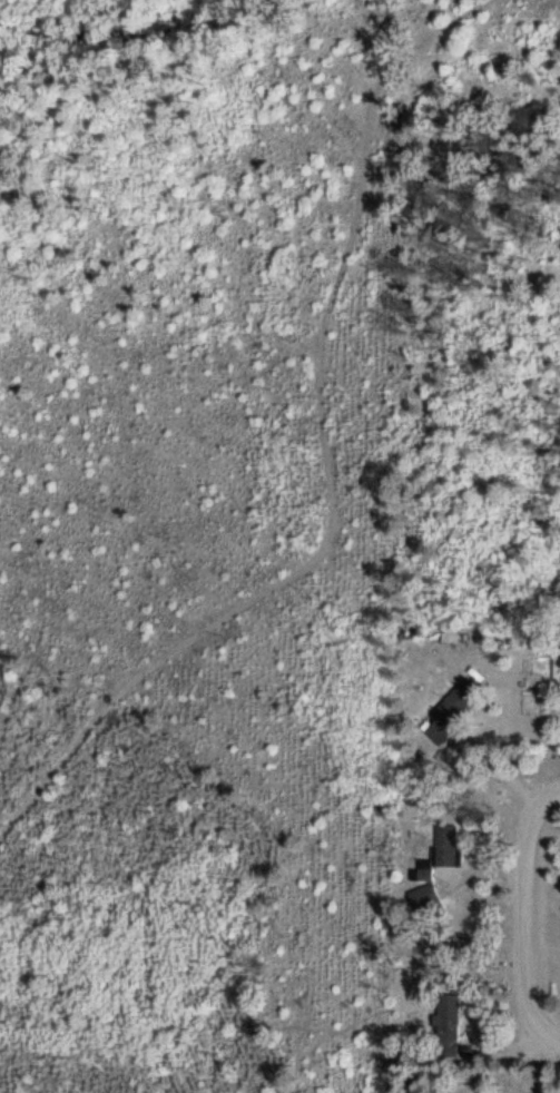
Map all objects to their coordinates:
building: (449, 705)
building: (442, 844)
building: (421, 898)
road: (524, 922)
building: (443, 1023)

